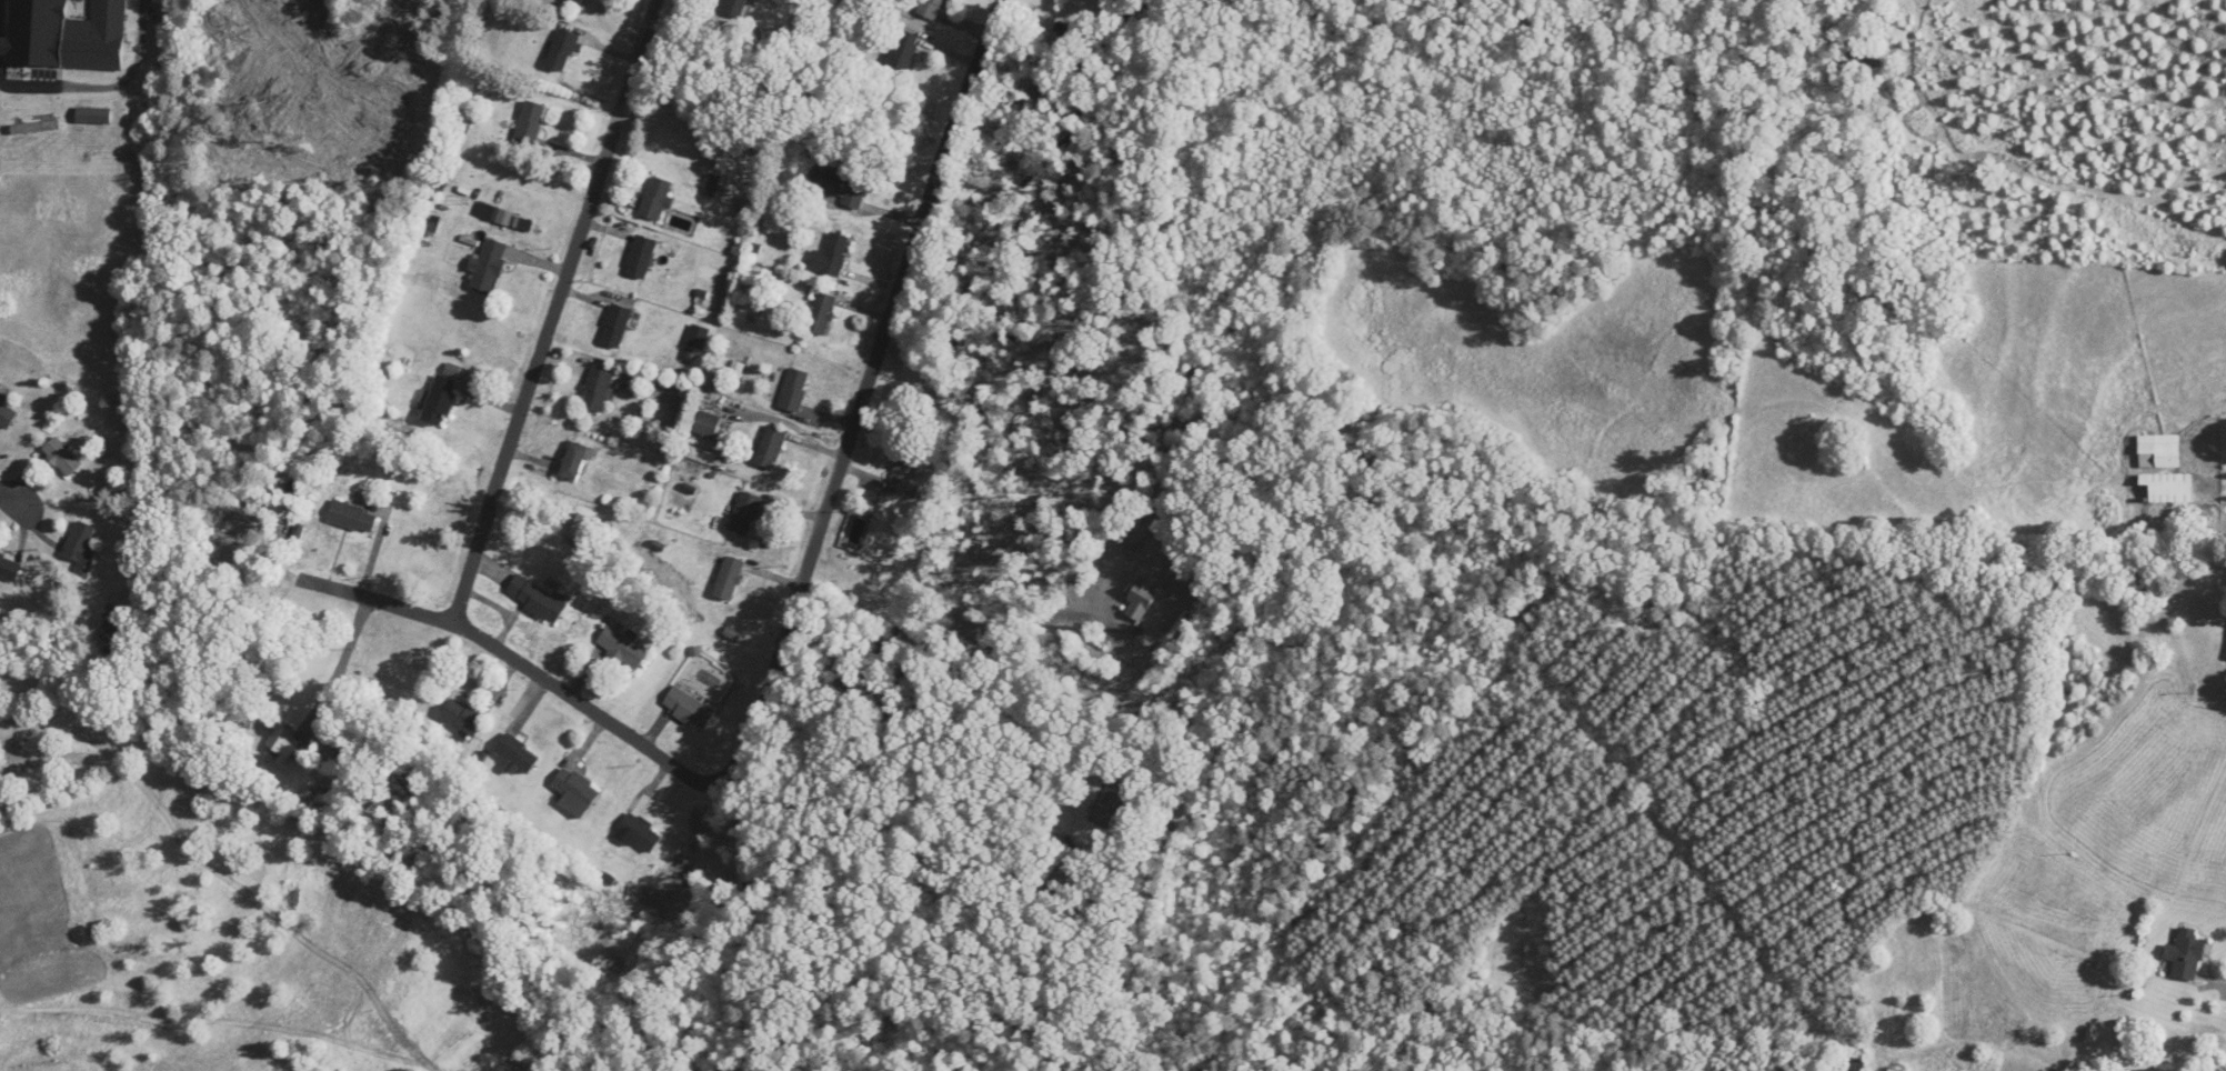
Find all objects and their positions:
building: (579, 2)
building: (738, 9)
building: (934, 9)
building: (68, 33)
building: (564, 51)
building: (905, 52)
building: (1861, 60)
building: (532, 124)
building: (846, 186)
building: (659, 199)
building: (833, 257)
building: (643, 258)
building: (490, 267)
road: (558, 311)
building: (823, 314)
building: (618, 327)
building: (699, 337)
building: (600, 390)
building: (796, 391)
building: (443, 398)
road: (863, 402)
building: (7, 414)
building: (710, 426)
building: (773, 448)
building: (2162, 450)
building: (702, 457)
building: (63, 458)
building: (576, 461)
building: (908, 474)
building: (2168, 488)
road: (10, 503)
building: (746, 514)
building: (354, 518)
building: (82, 547)
building: (9, 570)
building: (731, 579)
building: (538, 600)
building: (1140, 602)
building: (113, 625)
road: (946, 643)
building: (625, 649)
road: (338, 661)
road: (528, 670)
building: (692, 709)
building: (465, 718)
road: (1031, 727)
building: (519, 755)
building: (579, 792)
building: (1107, 809)
building: (642, 833)
building: (2185, 955)
building: (2150, 1070)

